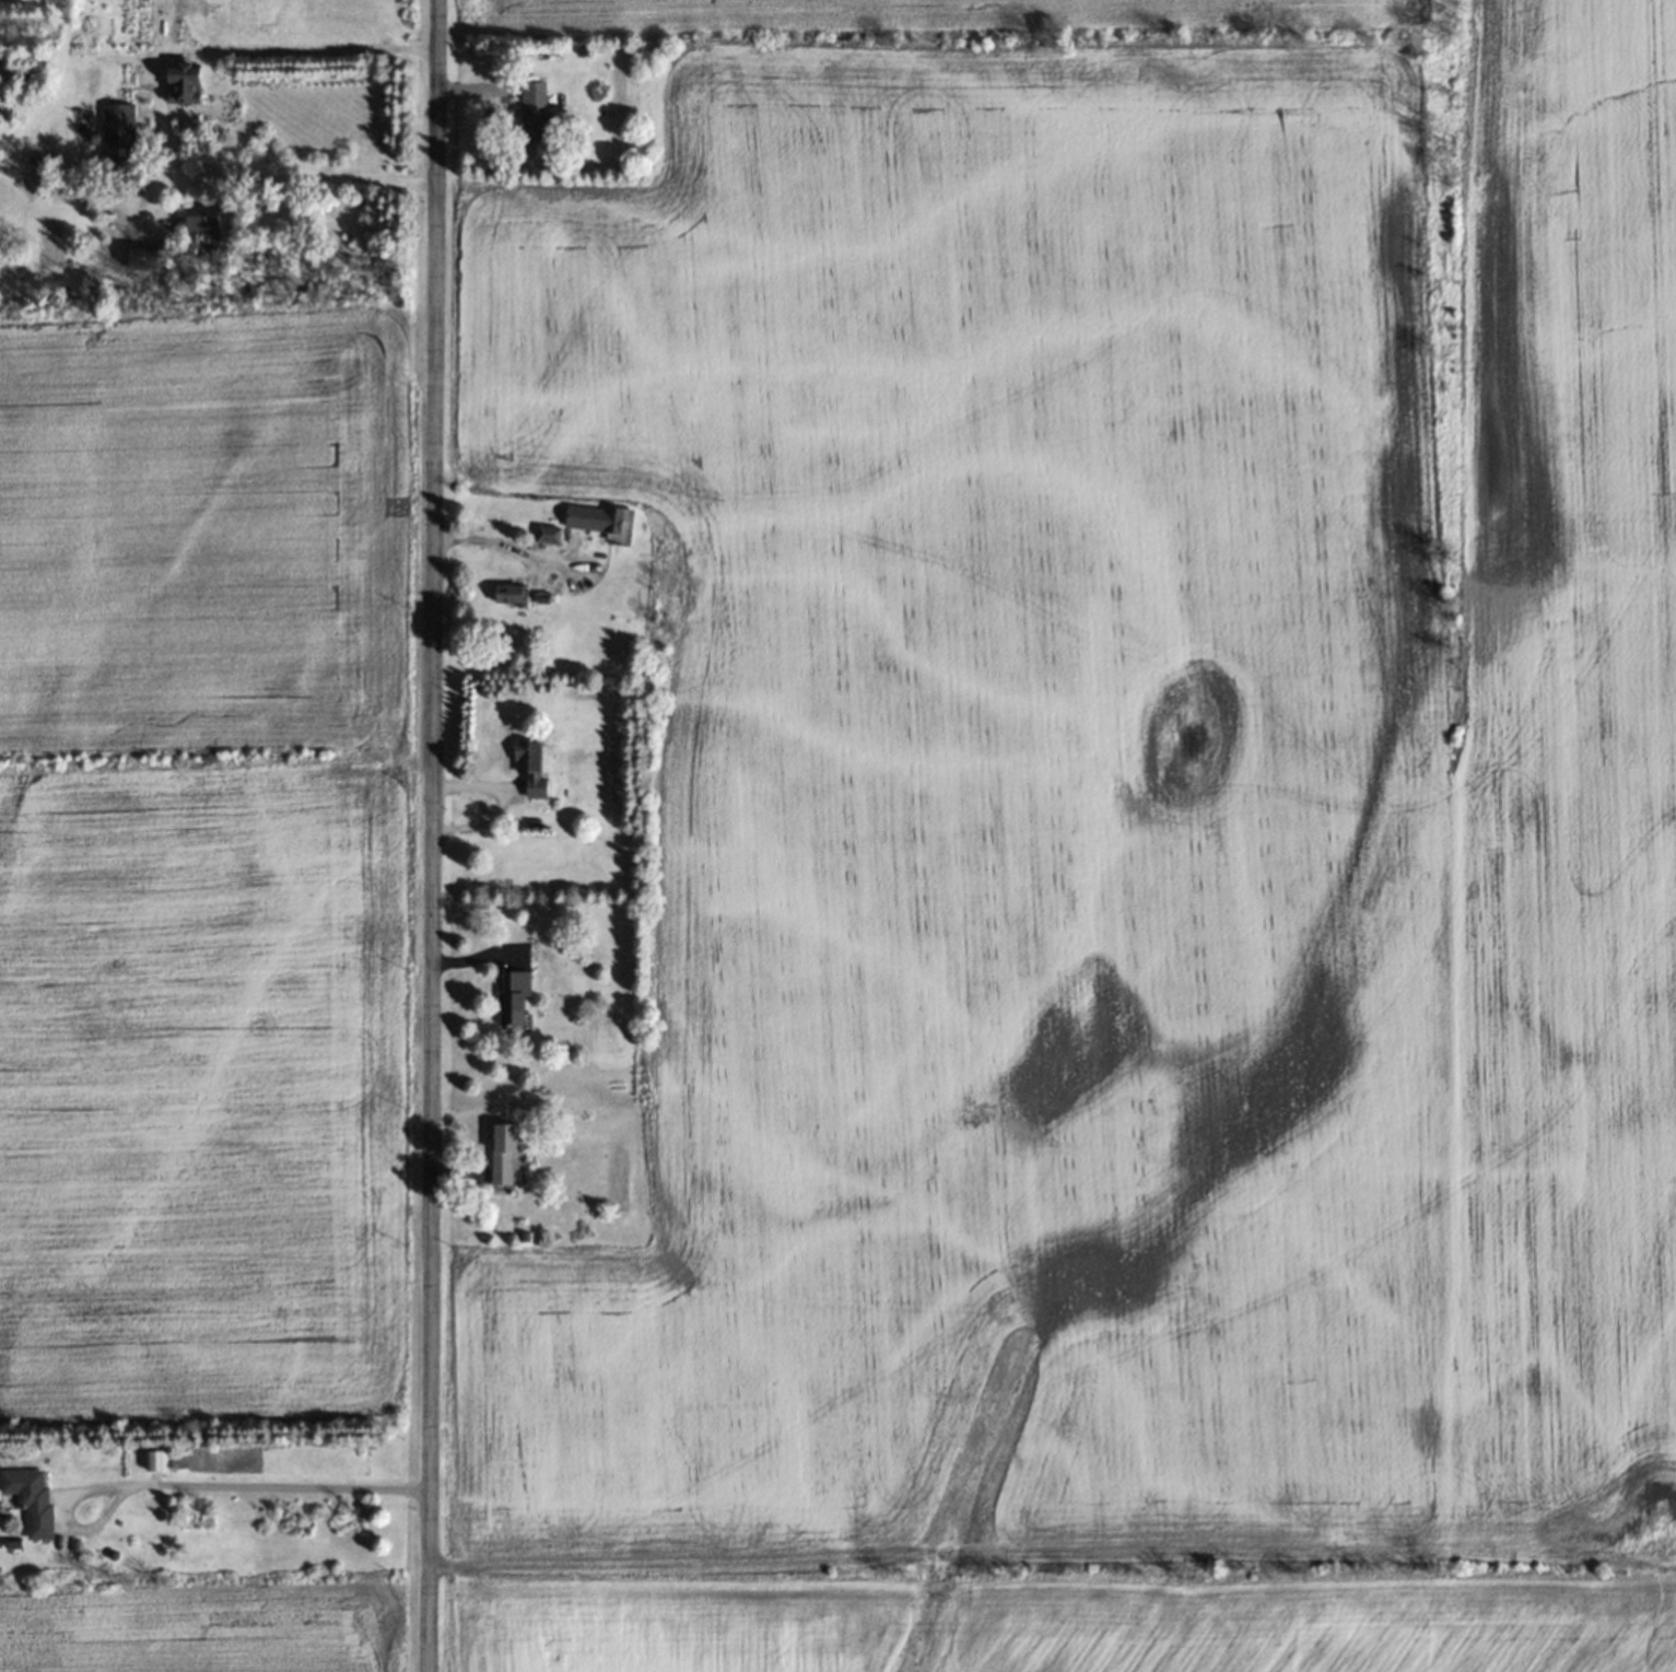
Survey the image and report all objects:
road: (160, 106)
building: (532, 110)
building: (117, 132)
building: (202, 223)
building: (142, 259)
building: (599, 521)
building: (511, 594)
building: (530, 767)
road: (429, 835)
crop: (1106, 846)
crop: (210, 861)
building: (514, 996)
building: (503, 1153)
road: (192, 1483)
building: (30, 1497)
road: (1051, 1551)
crop: (211, 1629)
building: (1333, 1662)

